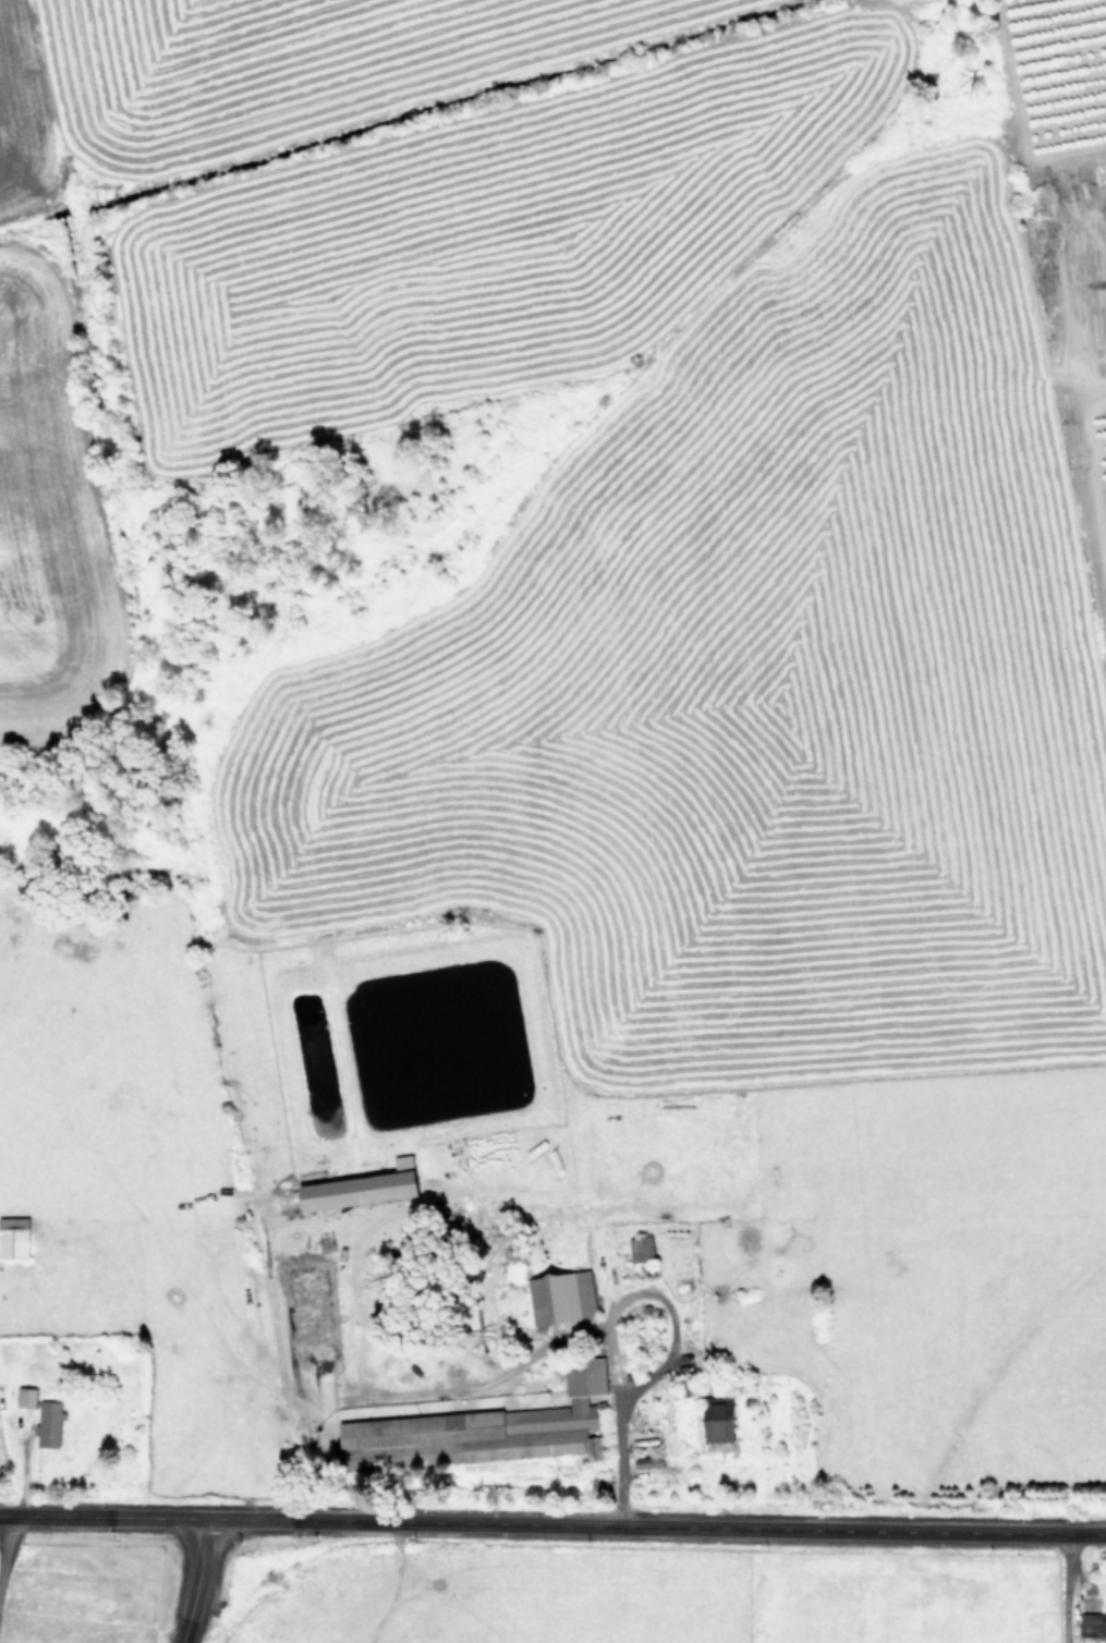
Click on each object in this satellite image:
crop: (547, 758)
building: (358, 1188)
building: (13, 1237)
building: (639, 1248)
building: (560, 1297)
road: (604, 1318)
building: (23, 1397)
building: (715, 1419)
building: (47, 1424)
road: (100, 1517)
road: (587, 1525)
road: (5, 1551)
road: (1066, 1589)
crop: (660, 1603)
building: (1092, 1624)

